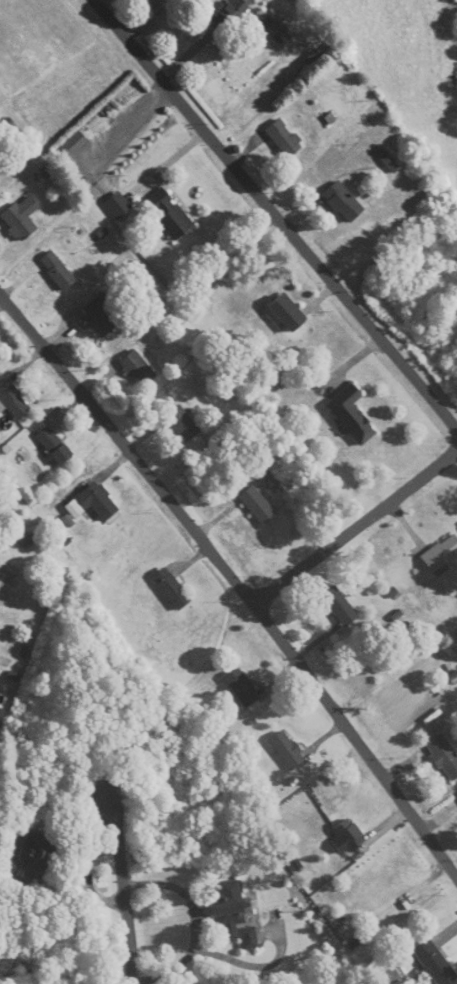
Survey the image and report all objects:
building: (233, 12)
building: (271, 25)
building: (285, 138)
building: (344, 202)
building: (119, 207)
road: (275, 212)
building: (171, 214)
building: (22, 218)
building: (58, 270)
building: (288, 313)
building: (99, 316)
building: (139, 368)
building: (13, 400)
building: (352, 414)
building: (182, 423)
building: (55, 445)
building: (94, 504)
building: (258, 505)
road: (355, 525)
building: (442, 553)
road: (238, 579)
building: (172, 589)
building: (340, 606)
building: (243, 688)
building: (287, 749)
building: (444, 756)
building: (349, 834)
building: (38, 852)
road: (120, 874)
building: (233, 915)
building: (435, 964)

